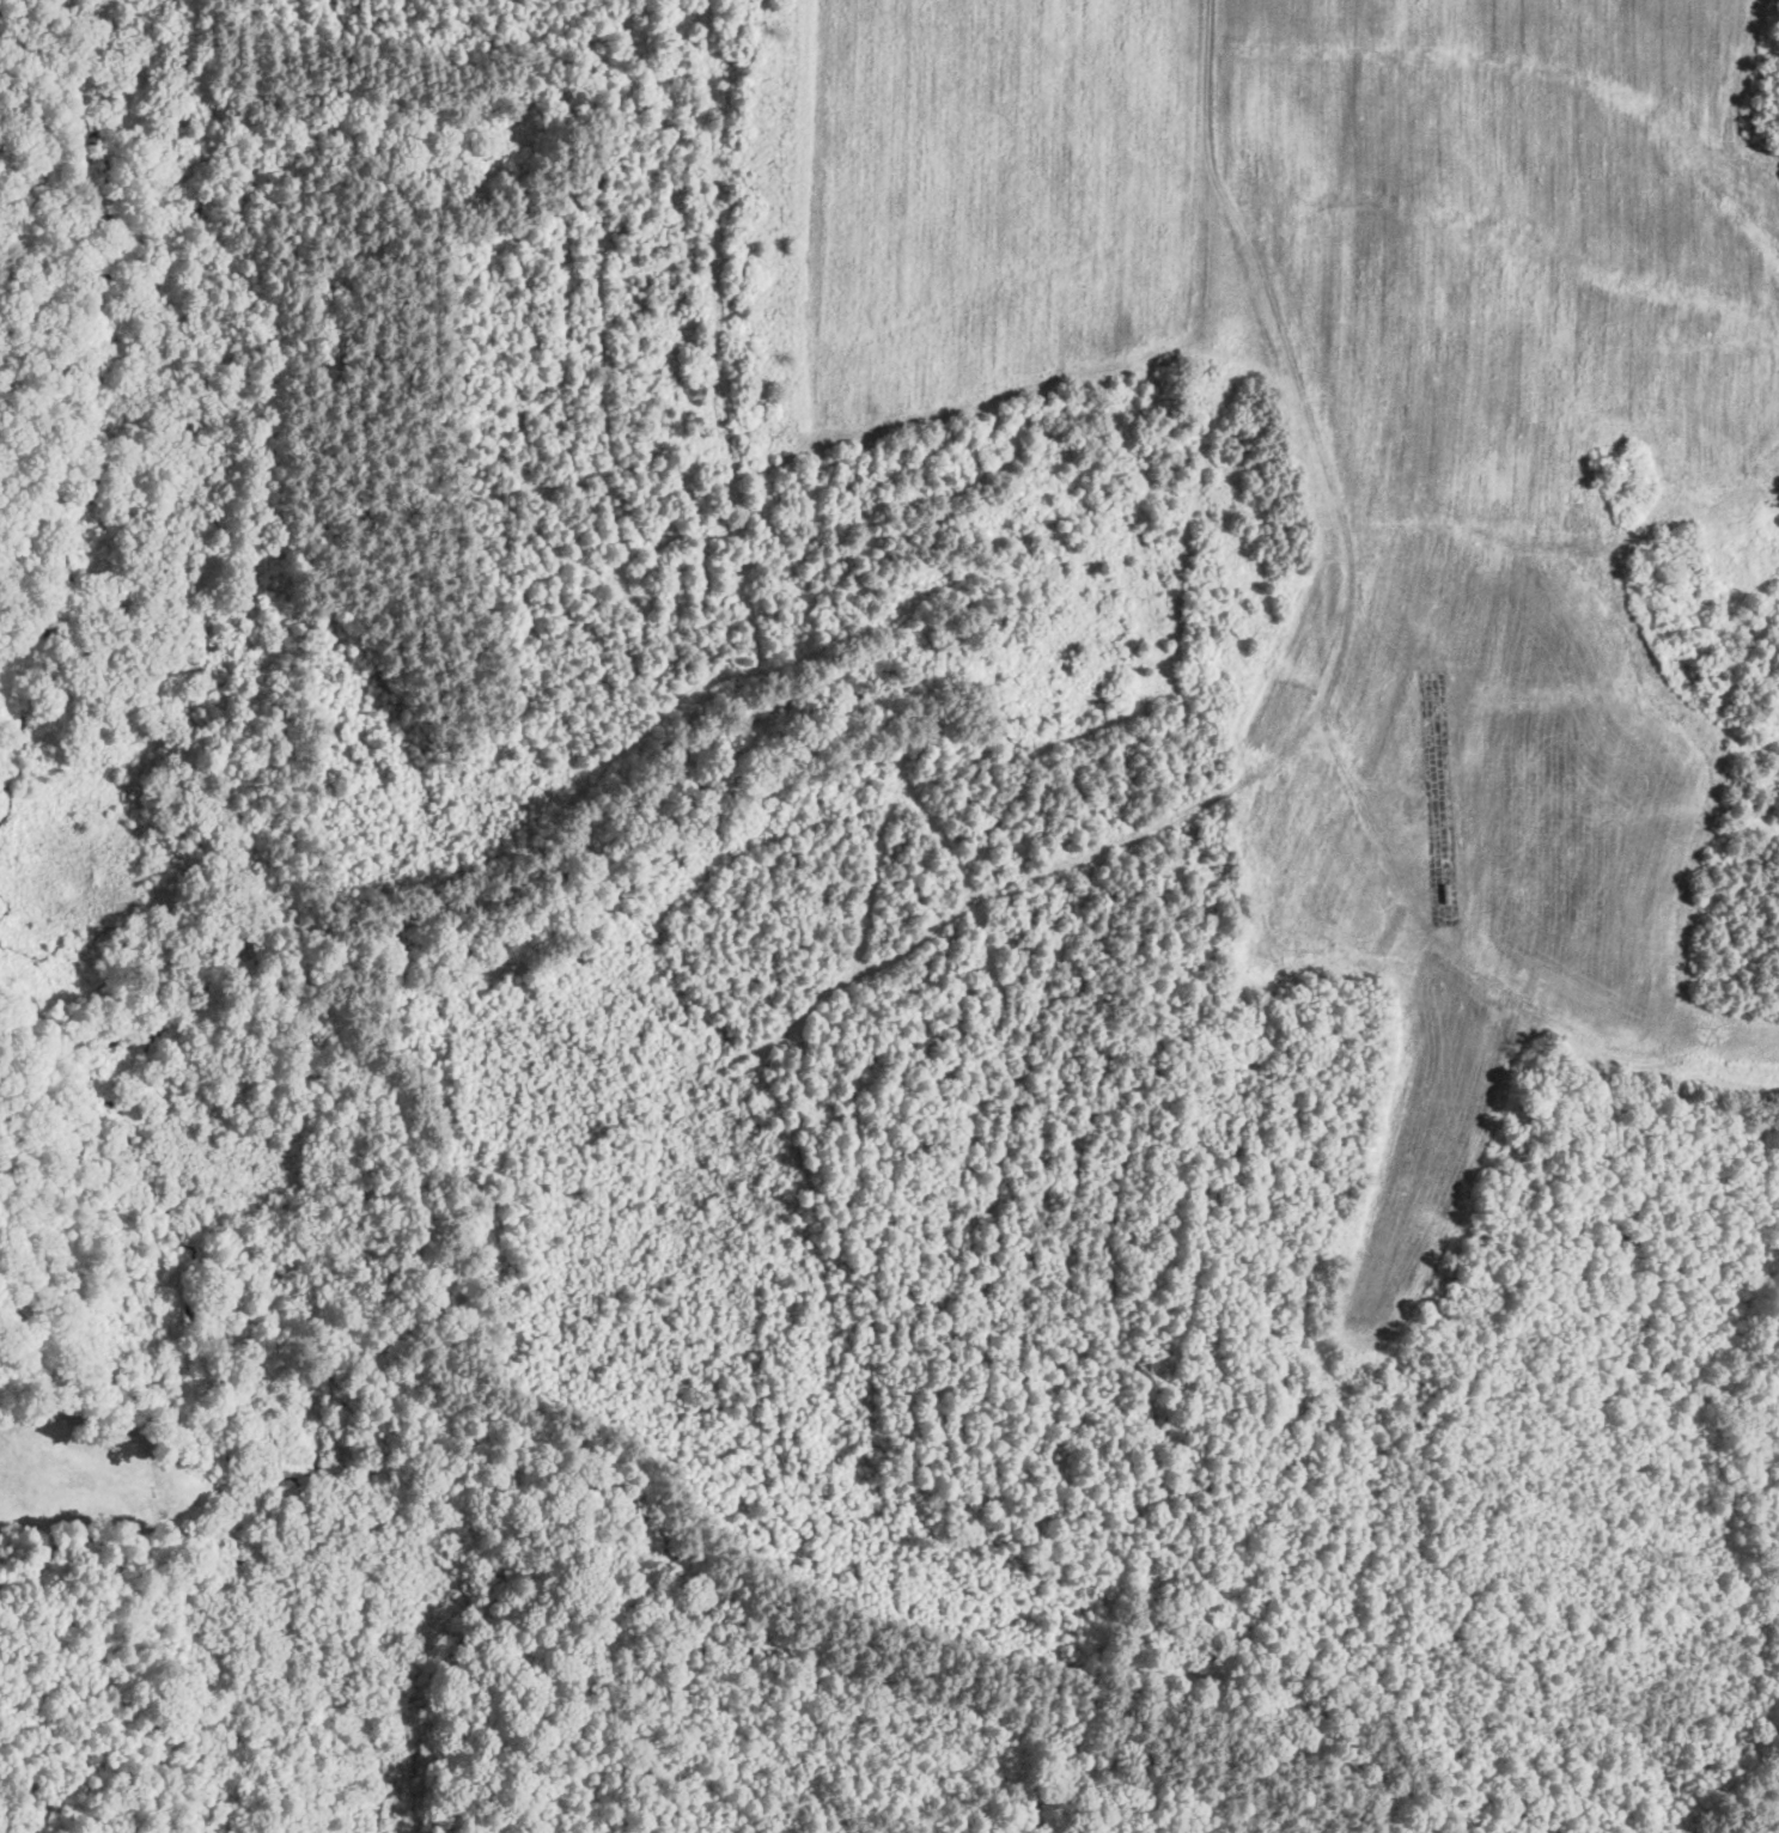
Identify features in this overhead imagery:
road: (1204, 449)

